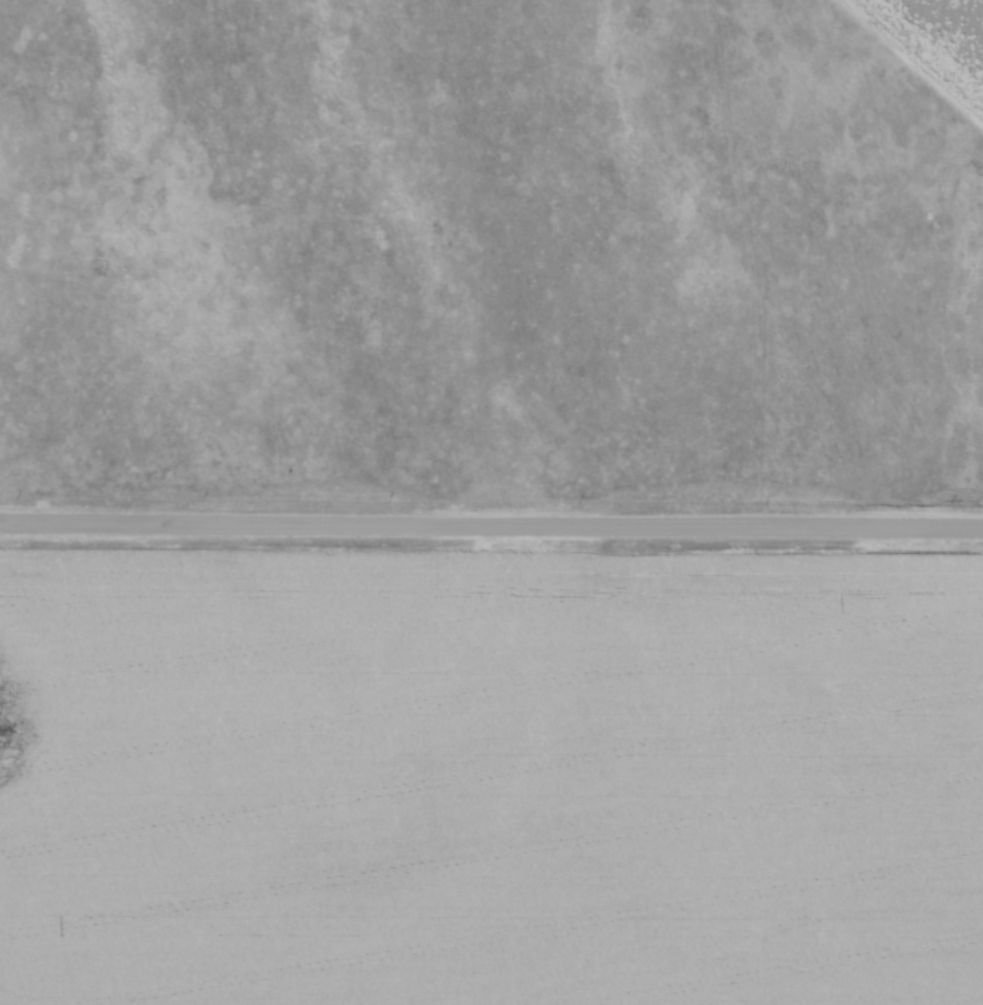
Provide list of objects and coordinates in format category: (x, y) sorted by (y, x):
road: (491, 527)

